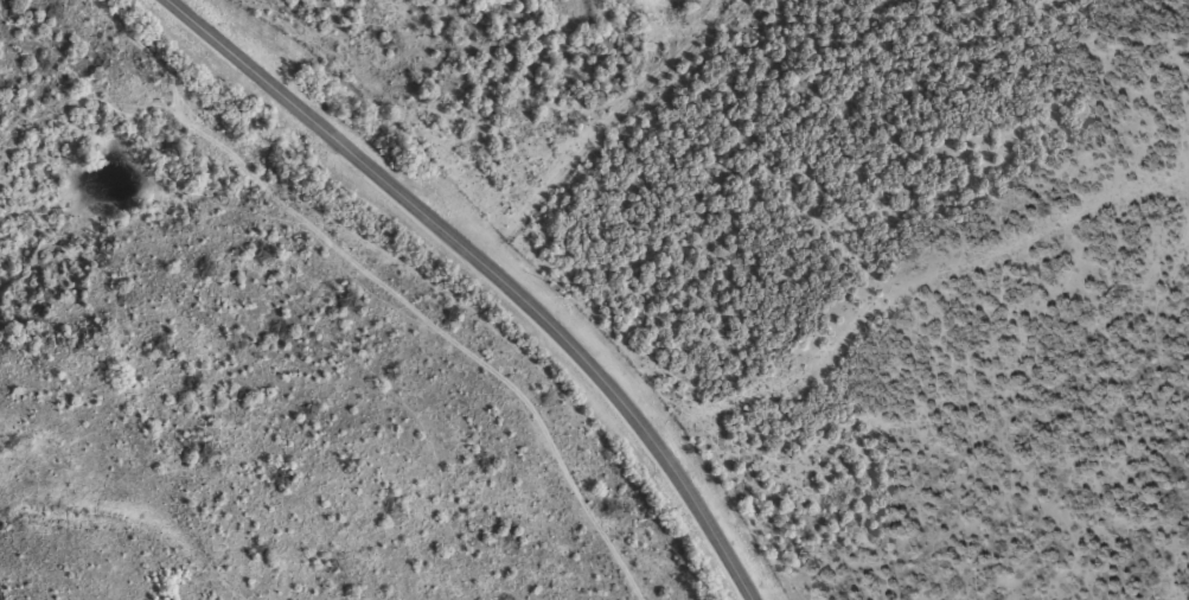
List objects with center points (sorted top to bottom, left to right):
road: (487, 272)

